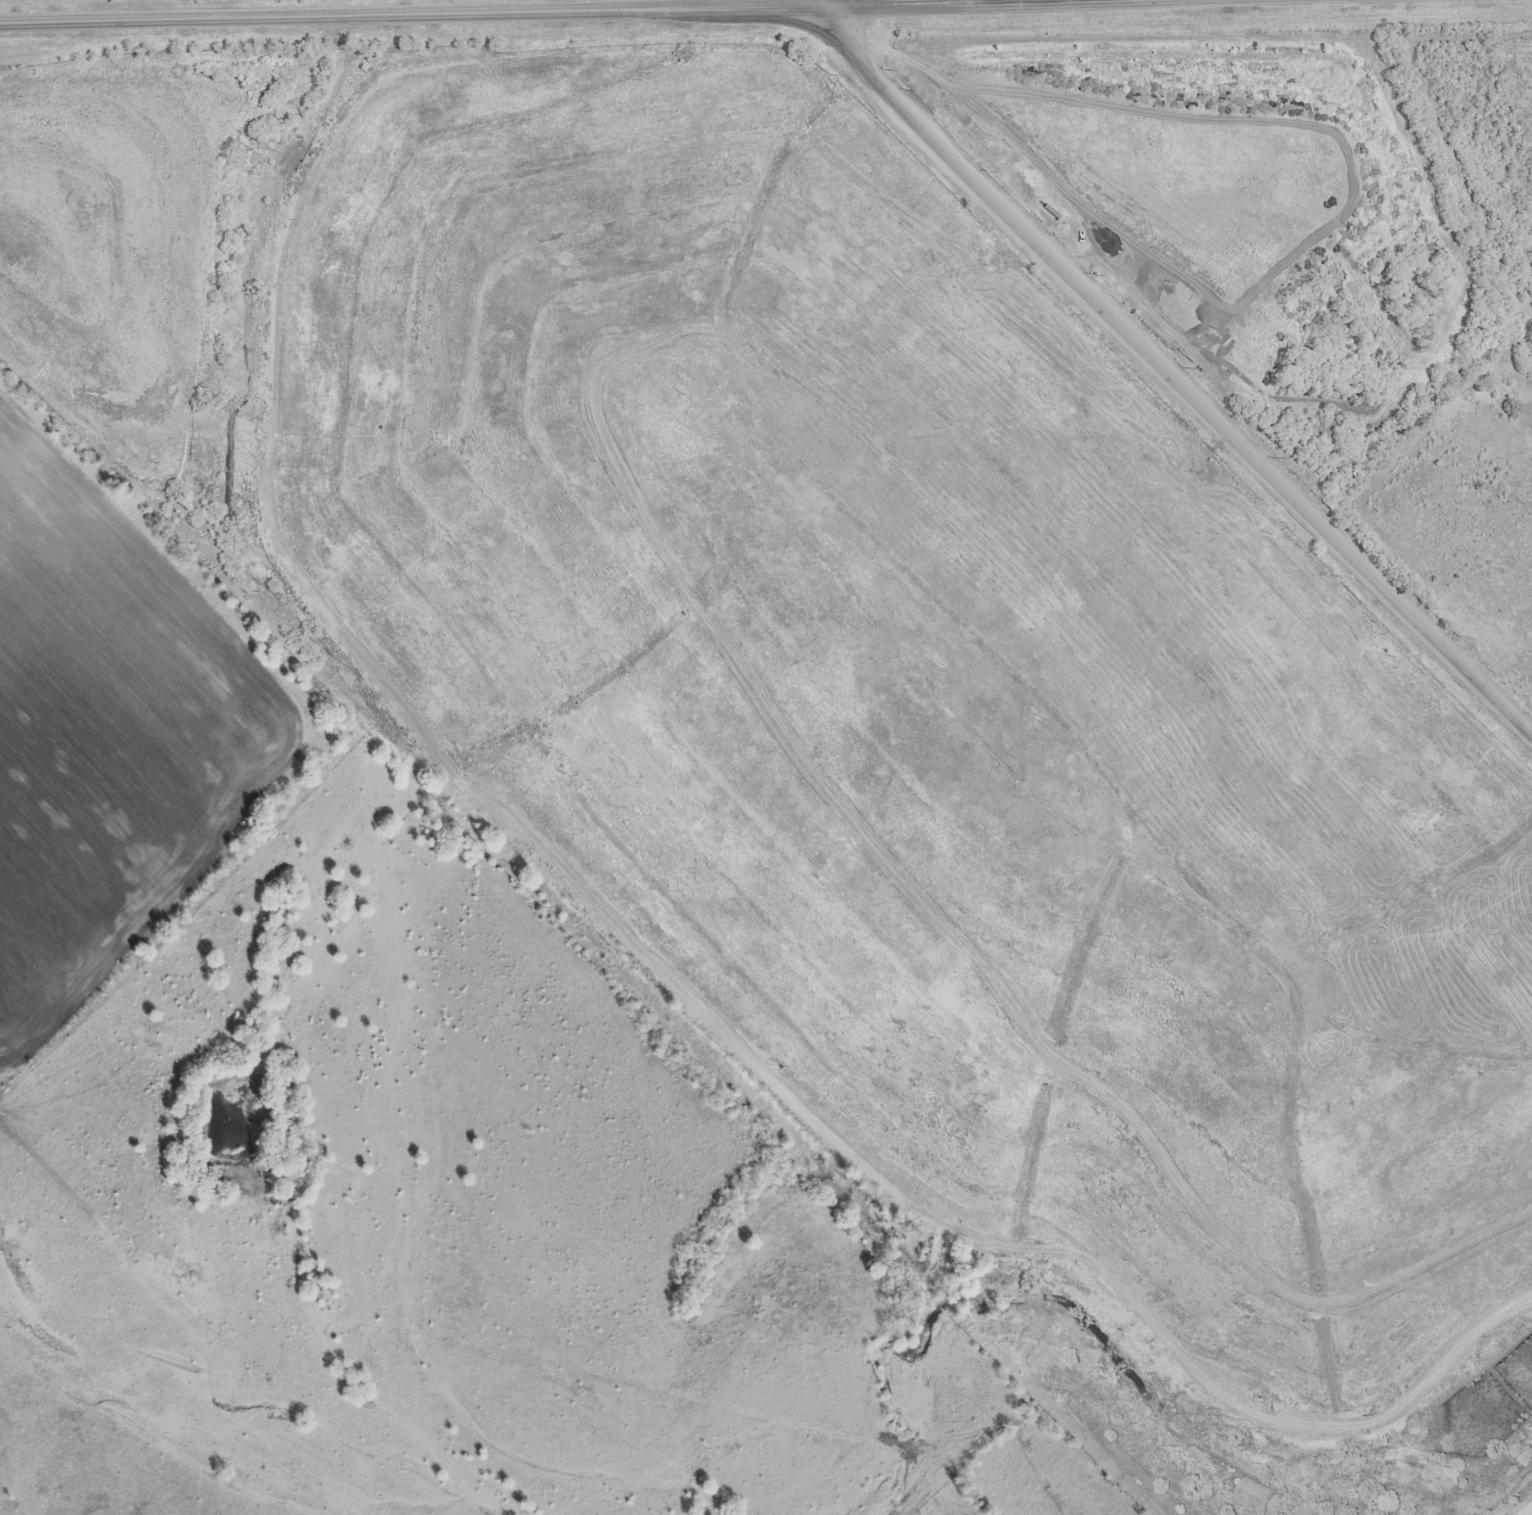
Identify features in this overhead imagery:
road: (606, 12)
road: (1173, 379)
landfill: (851, 716)

